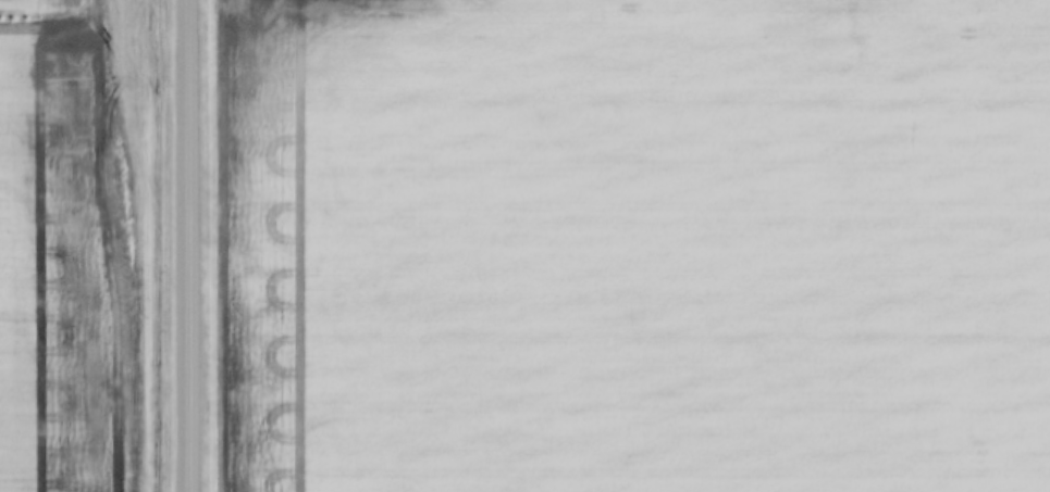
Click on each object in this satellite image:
road: (184, 245)

